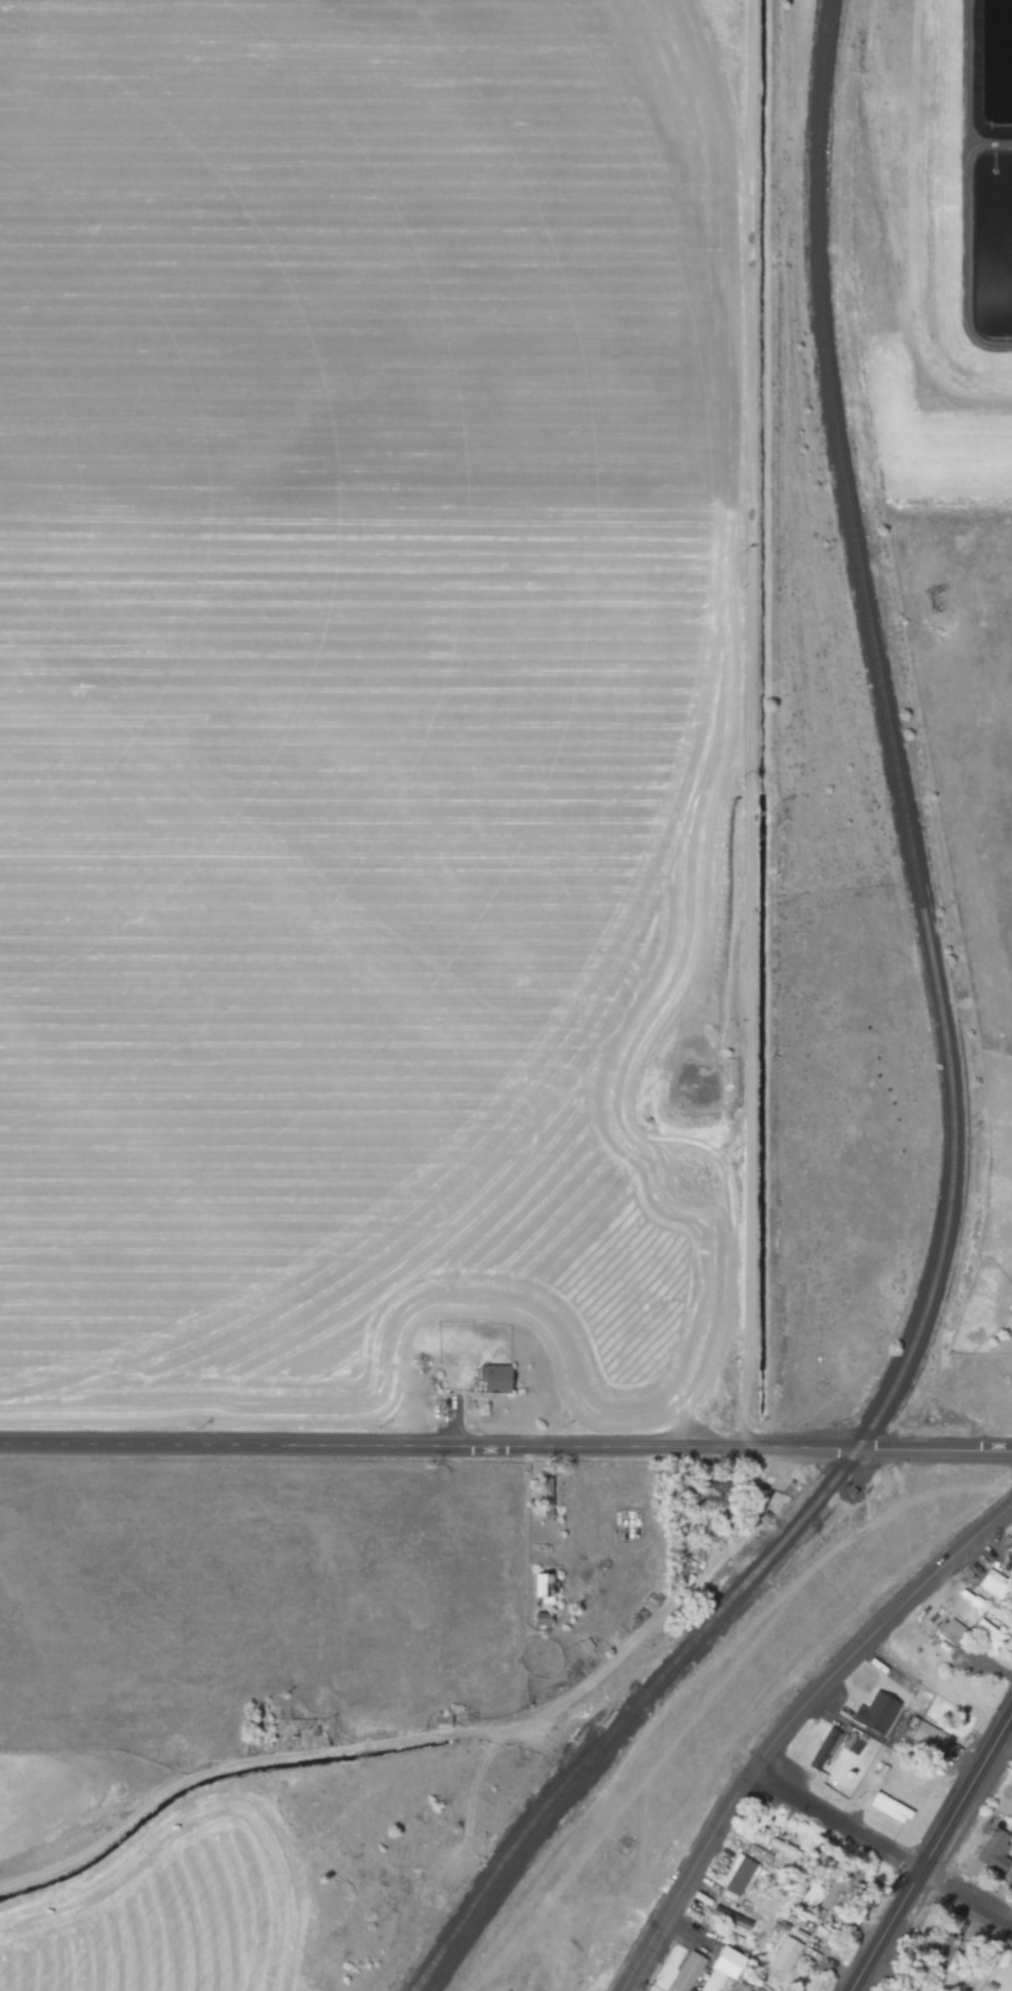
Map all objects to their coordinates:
crop: (940, 424)
railway: (838, 460)
crop: (322, 631)
railway: (919, 1321)
building: (497, 1378)
road: (506, 1444)
building: (713, 1494)
building: (545, 1495)
building: (1007, 1560)
building: (992, 1584)
building: (543, 1587)
building: (542, 1619)
building: (949, 1630)
building: (983, 1635)
crop: (235, 1711)
building: (876, 1712)
building: (440, 1721)
road: (786, 1722)
building: (928, 1737)
building: (852, 1743)
building: (821, 1747)
building: (886, 1806)
railway: (536, 1813)
building: (771, 1841)
road: (879, 1847)
building: (995, 1851)
road: (935, 1855)
railway: (513, 1858)
building: (738, 1873)
building: (730, 1918)
building: (784, 1954)
road: (991, 1955)
building: (730, 1961)
building: (687, 1972)
railway: (420, 1976)
building: (1011, 1989)
building: (745, 1990)

